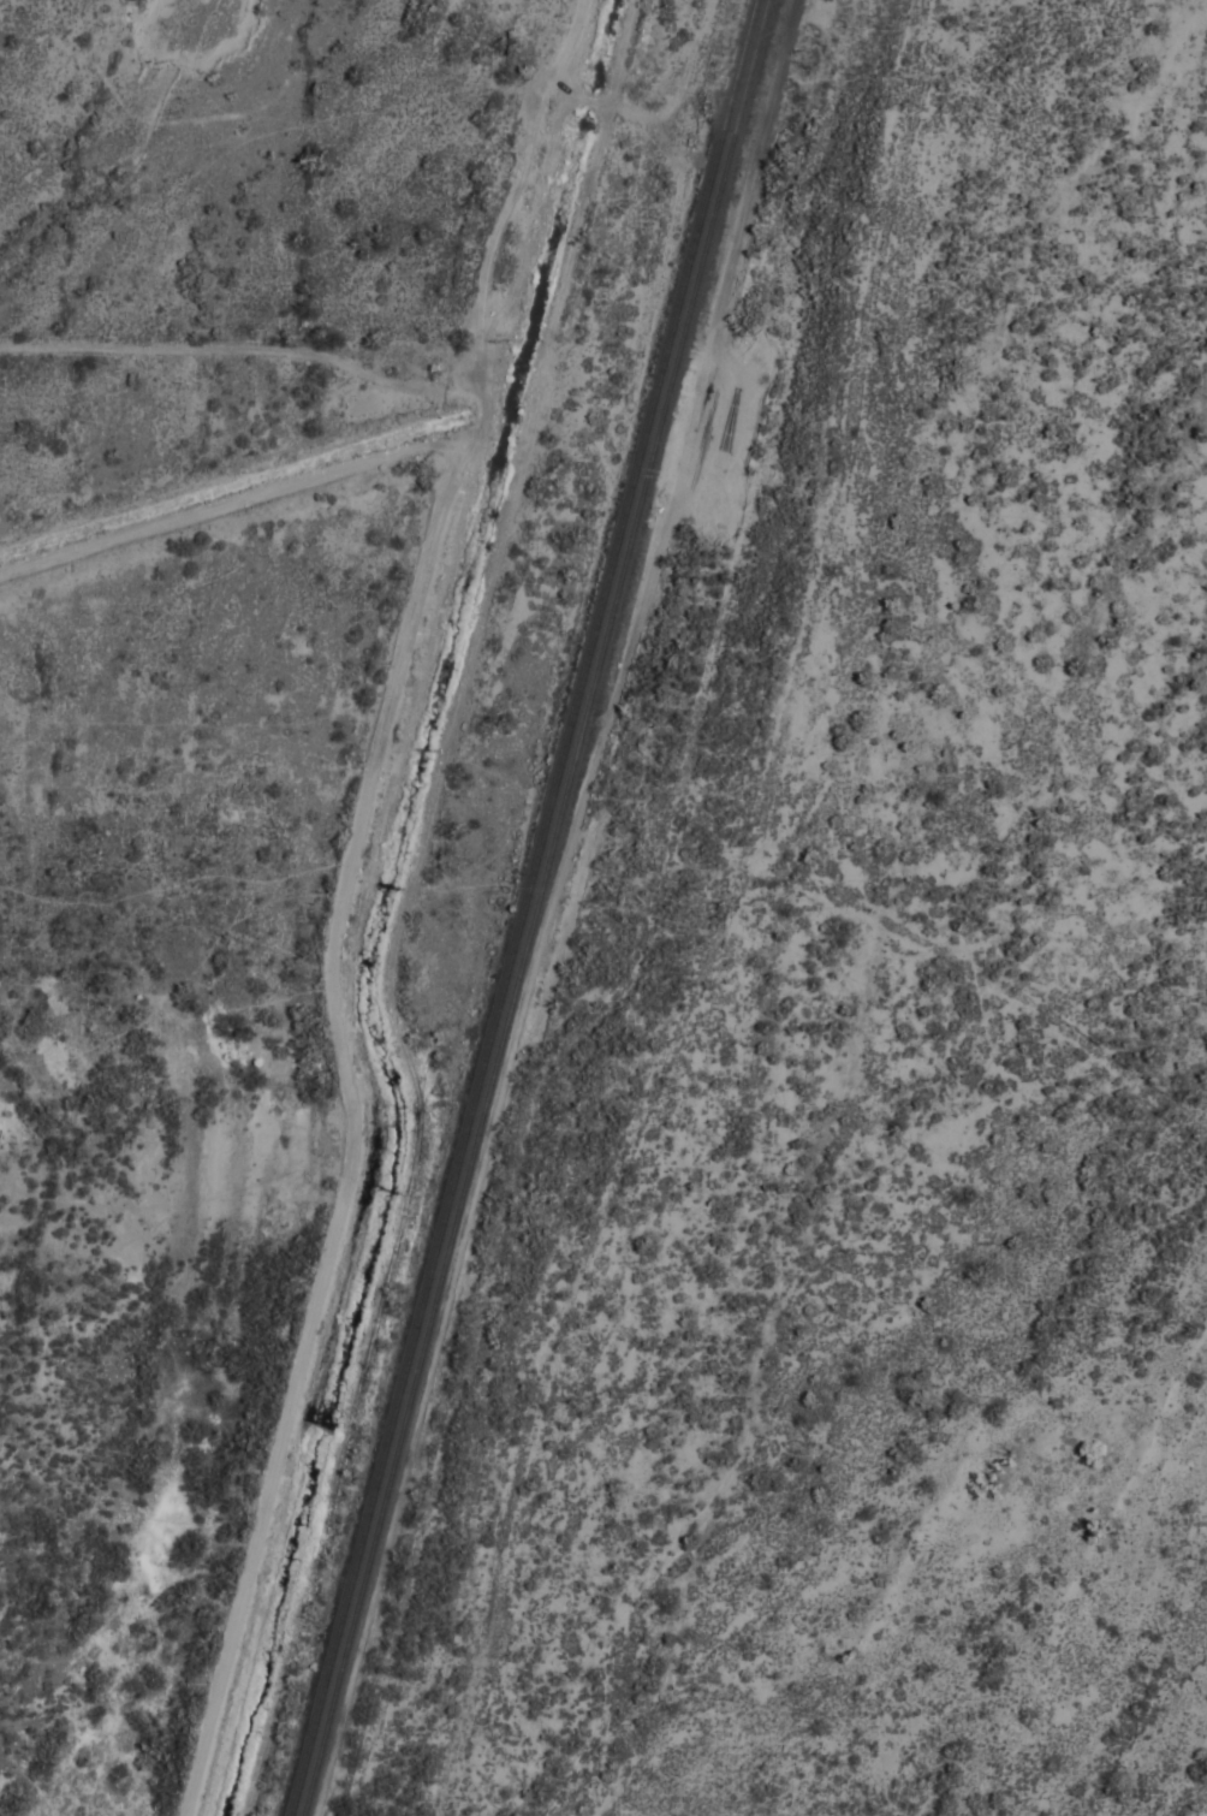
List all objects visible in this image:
road: (521, 184)
road: (245, 348)
road: (234, 505)
railway: (527, 908)
railway: (537, 908)
road: (789, 916)
road: (671, 925)
road: (997, 1032)
road: (352, 1093)

